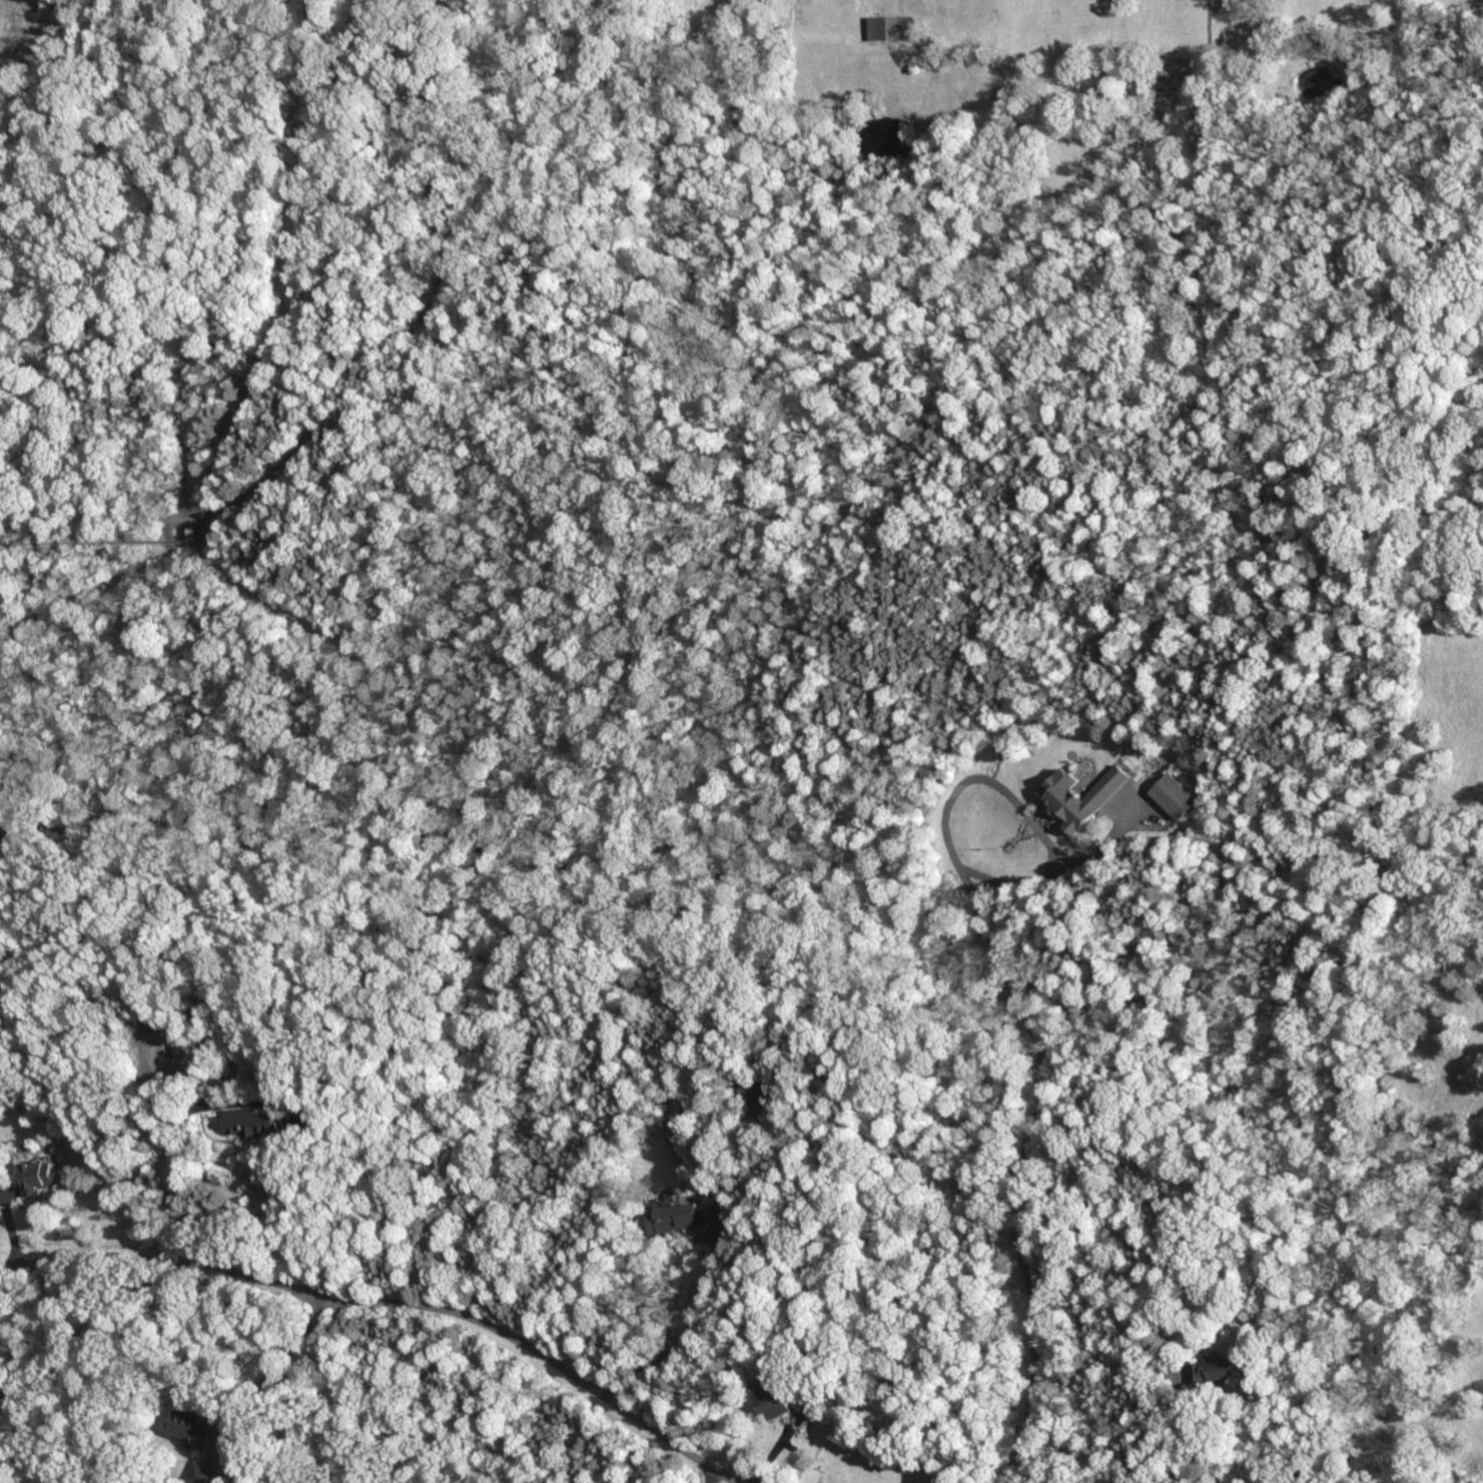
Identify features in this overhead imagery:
building: (892, 29)
building: (172, 535)
building: (1080, 795)
building: (1173, 796)
road: (1023, 810)
building: (750, 1086)
building: (665, 1093)
building: (319, 1122)
building: (251, 1123)
road: (1026, 1165)
building: (36, 1178)
road: (295, 1214)
building: (674, 1220)
road: (392, 1302)
road: (703, 1306)
building: (1217, 1370)
road: (270, 1371)
building: (771, 1401)
building: (808, 1402)
road: (1188, 1422)
building: (191, 1428)
building: (207, 1473)
road: (711, 1475)
building: (911, 1481)

